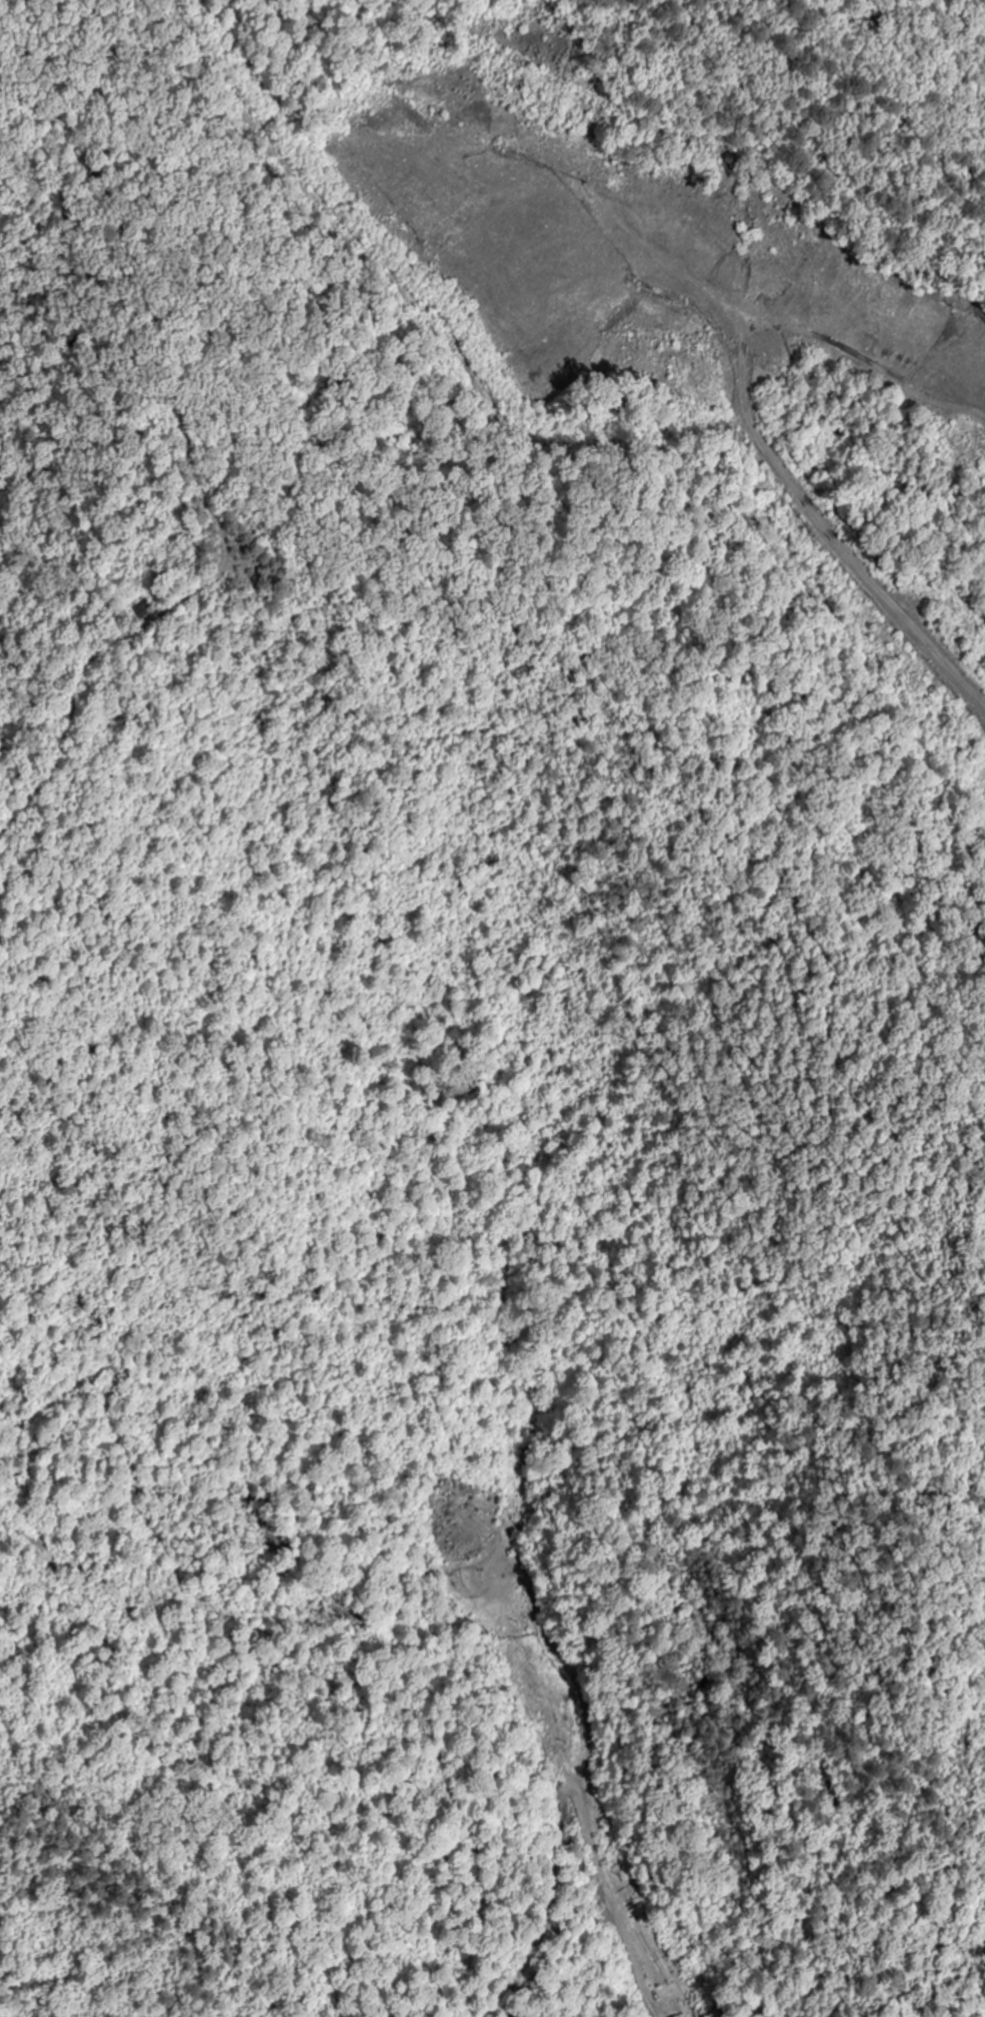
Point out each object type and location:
building: (143, 606)
building: (680, 2016)

